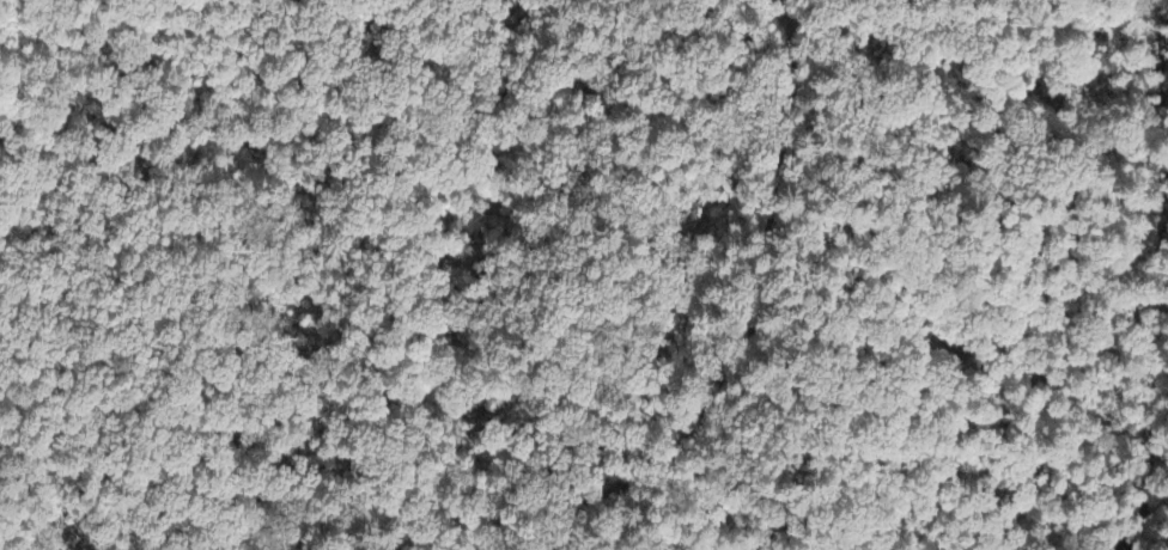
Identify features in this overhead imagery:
road: (753, 317)

